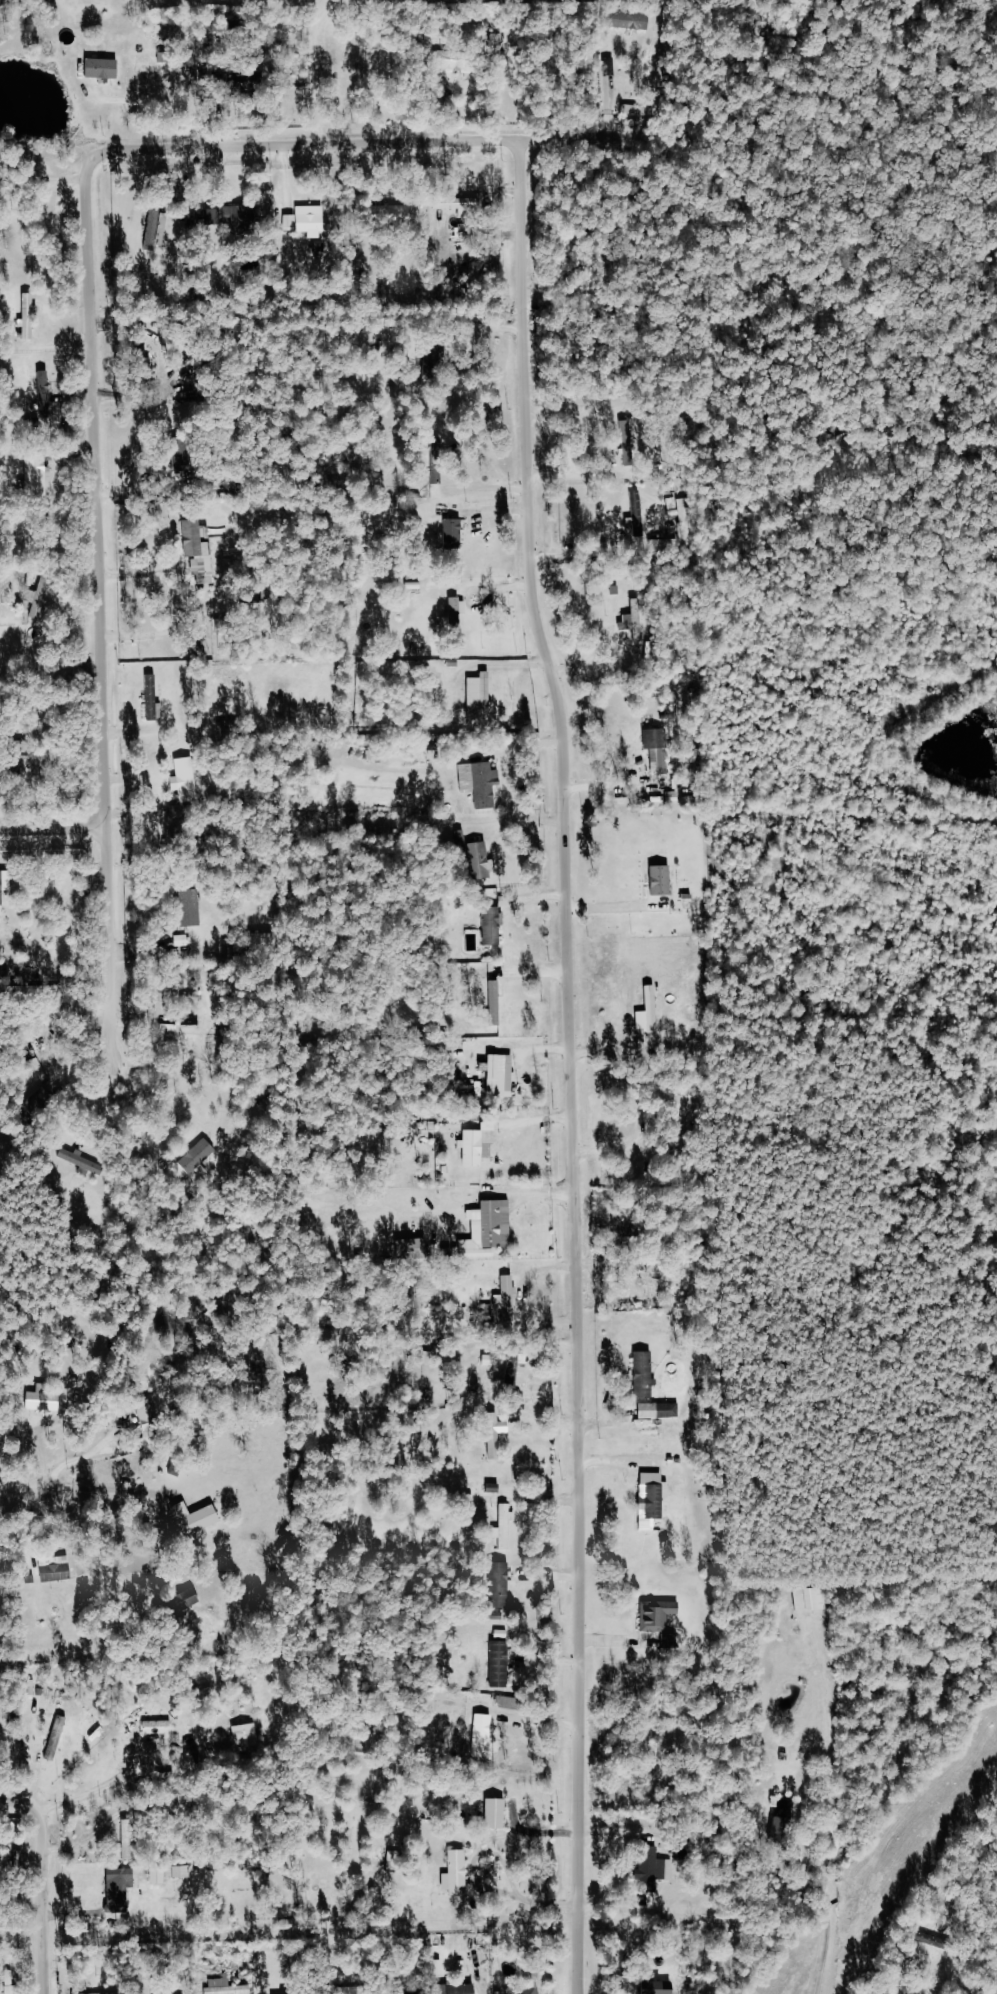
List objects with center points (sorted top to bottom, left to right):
building: (629, 20)
building: (454, 59)
building: (105, 69)
road: (164, 102)
road: (568, 137)
road: (289, 146)
building: (468, 207)
building: (395, 215)
building: (235, 217)
building: (310, 221)
building: (161, 228)
building: (31, 318)
building: (46, 394)
building: (438, 473)
building: (39, 474)
road: (98, 525)
building: (457, 533)
building: (201, 551)
building: (46, 593)
building: (460, 610)
building: (638, 618)
building: (483, 696)
building: (152, 698)
building: (232, 728)
building: (659, 750)
building: (188, 780)
building: (483, 783)
road: (55, 828)
building: (462, 839)
building: (484, 860)
building: (665, 880)
building: (3, 888)
building: (193, 908)
building: (495, 925)
building: (266, 942)
road: (112, 945)
building: (497, 995)
road: (62, 1017)
building: (193, 1018)
building: (501, 1076)
road: (572, 1082)
road: (138, 1108)
road: (69, 1128)
building: (480, 1147)
building: (199, 1157)
building: (85, 1162)
building: (491, 1230)
building: (417, 1249)
building: (509, 1298)
building: (516, 1368)
building: (648, 1375)
building: (47, 1399)
building: (663, 1411)
building: (154, 1422)
road: (26, 1486)
road: (115, 1489)
building: (199, 1519)
building: (507, 1526)
building: (7, 1551)
building: (58, 1569)
building: (504, 1585)
building: (186, 1601)
building: (660, 1615)
building: (502, 1664)
building: (514, 1703)
building: (485, 1733)
building: (249, 1736)
building: (58, 1738)
road: (127, 1767)
building: (499, 1814)
road: (832, 1817)
building: (786, 1829)
road: (95, 1837)
building: (131, 1840)
building: (396, 1861)
building: (656, 1867)
building: (459, 1874)
building: (161, 1875)
road: (44, 1881)
building: (125, 1889)
building: (925, 1938)
building: (228, 1987)
building: (663, 1988)
building: (14, 1989)
building: (358, 1990)
building: (464, 1990)
building: (532, 1990)

